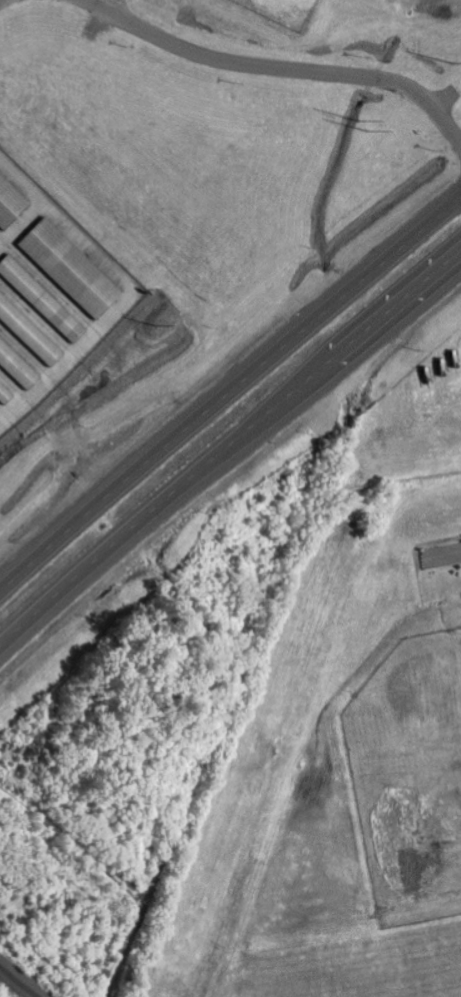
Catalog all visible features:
road: (0, 0)
road: (277, 69)
building: (10, 204)
building: (70, 271)
building: (41, 300)
building: (28, 332)
building: (16, 367)
road: (228, 392)
building: (4, 395)
road: (227, 454)
railway: (14, 985)

